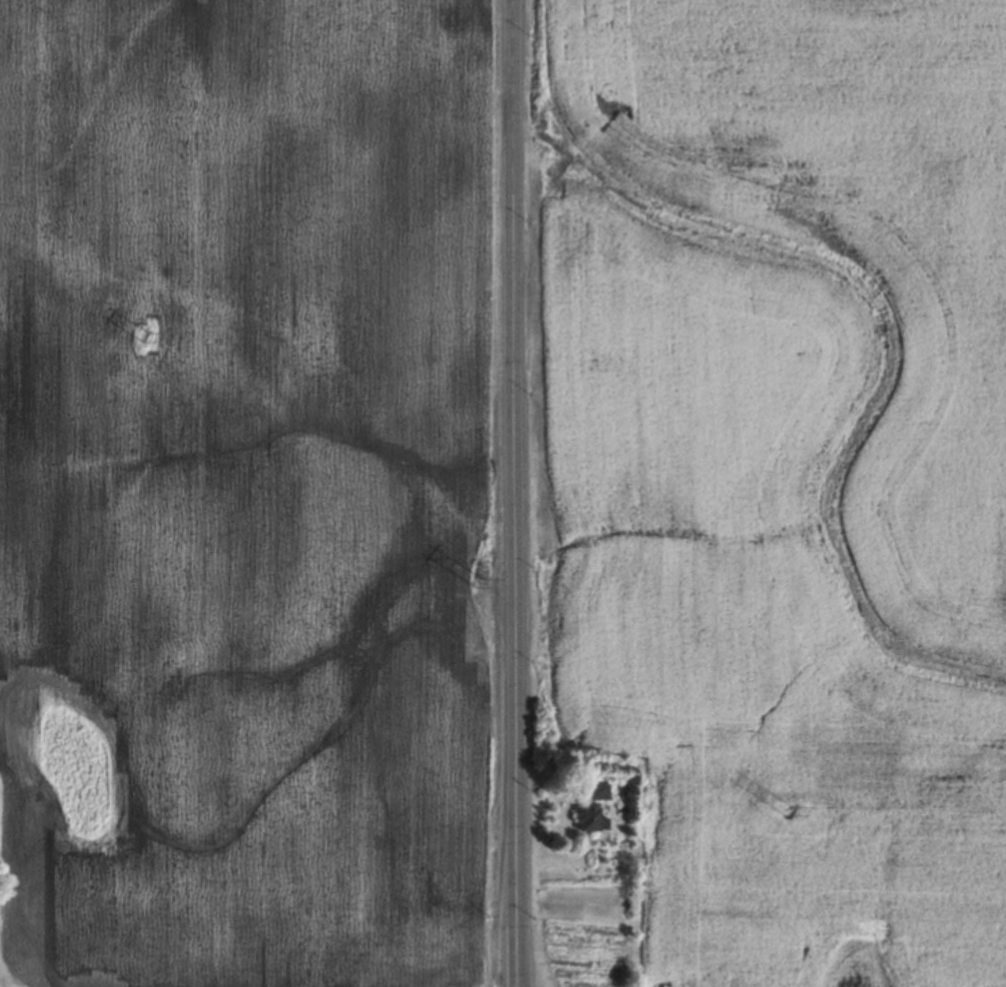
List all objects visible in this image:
road: (514, 493)
crop: (236, 496)
building: (594, 789)
building: (586, 817)

